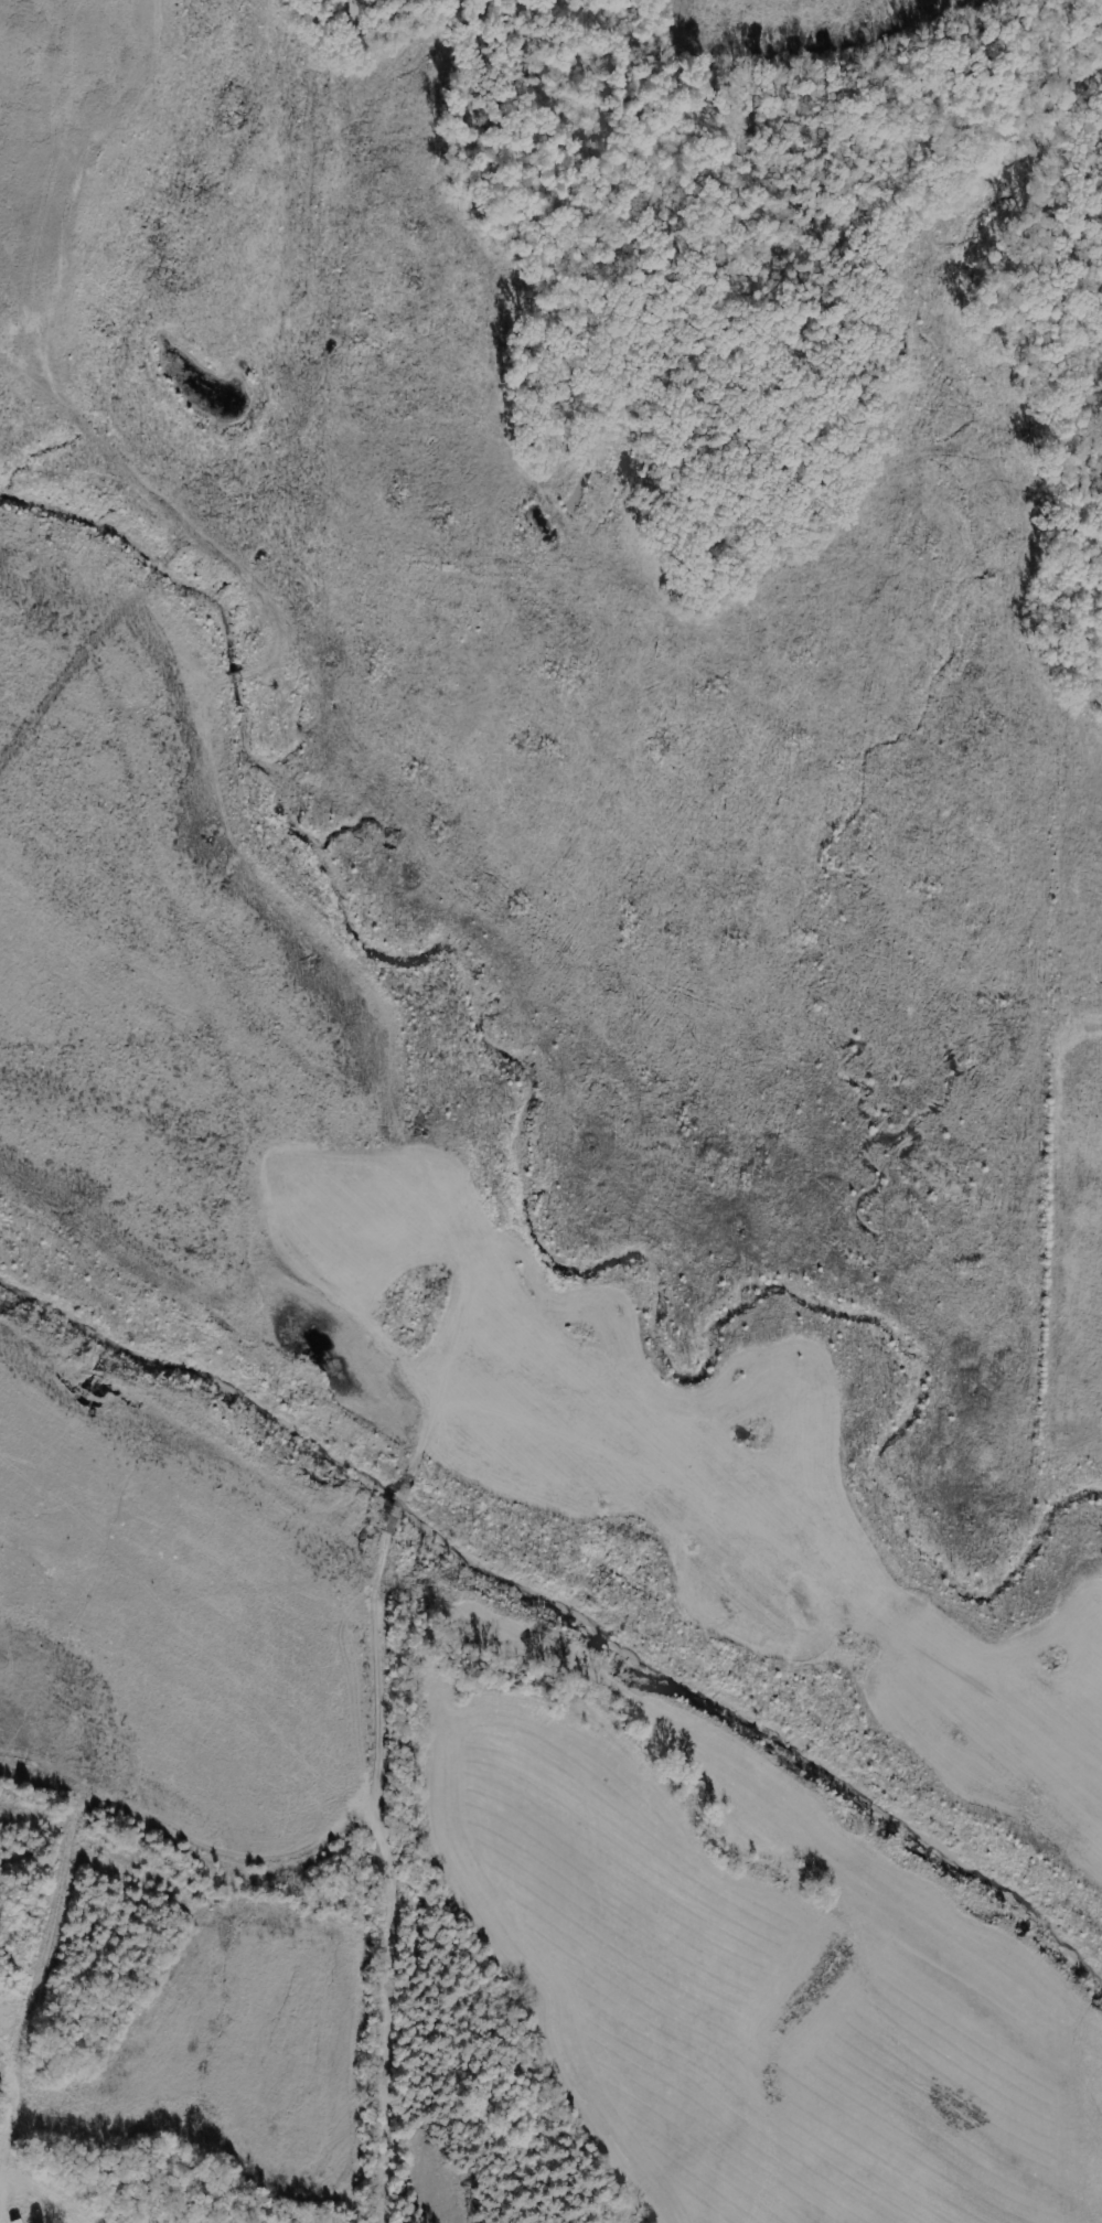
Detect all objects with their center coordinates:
building: (0, 2053)
road: (7, 2214)
building: (21, 2221)

